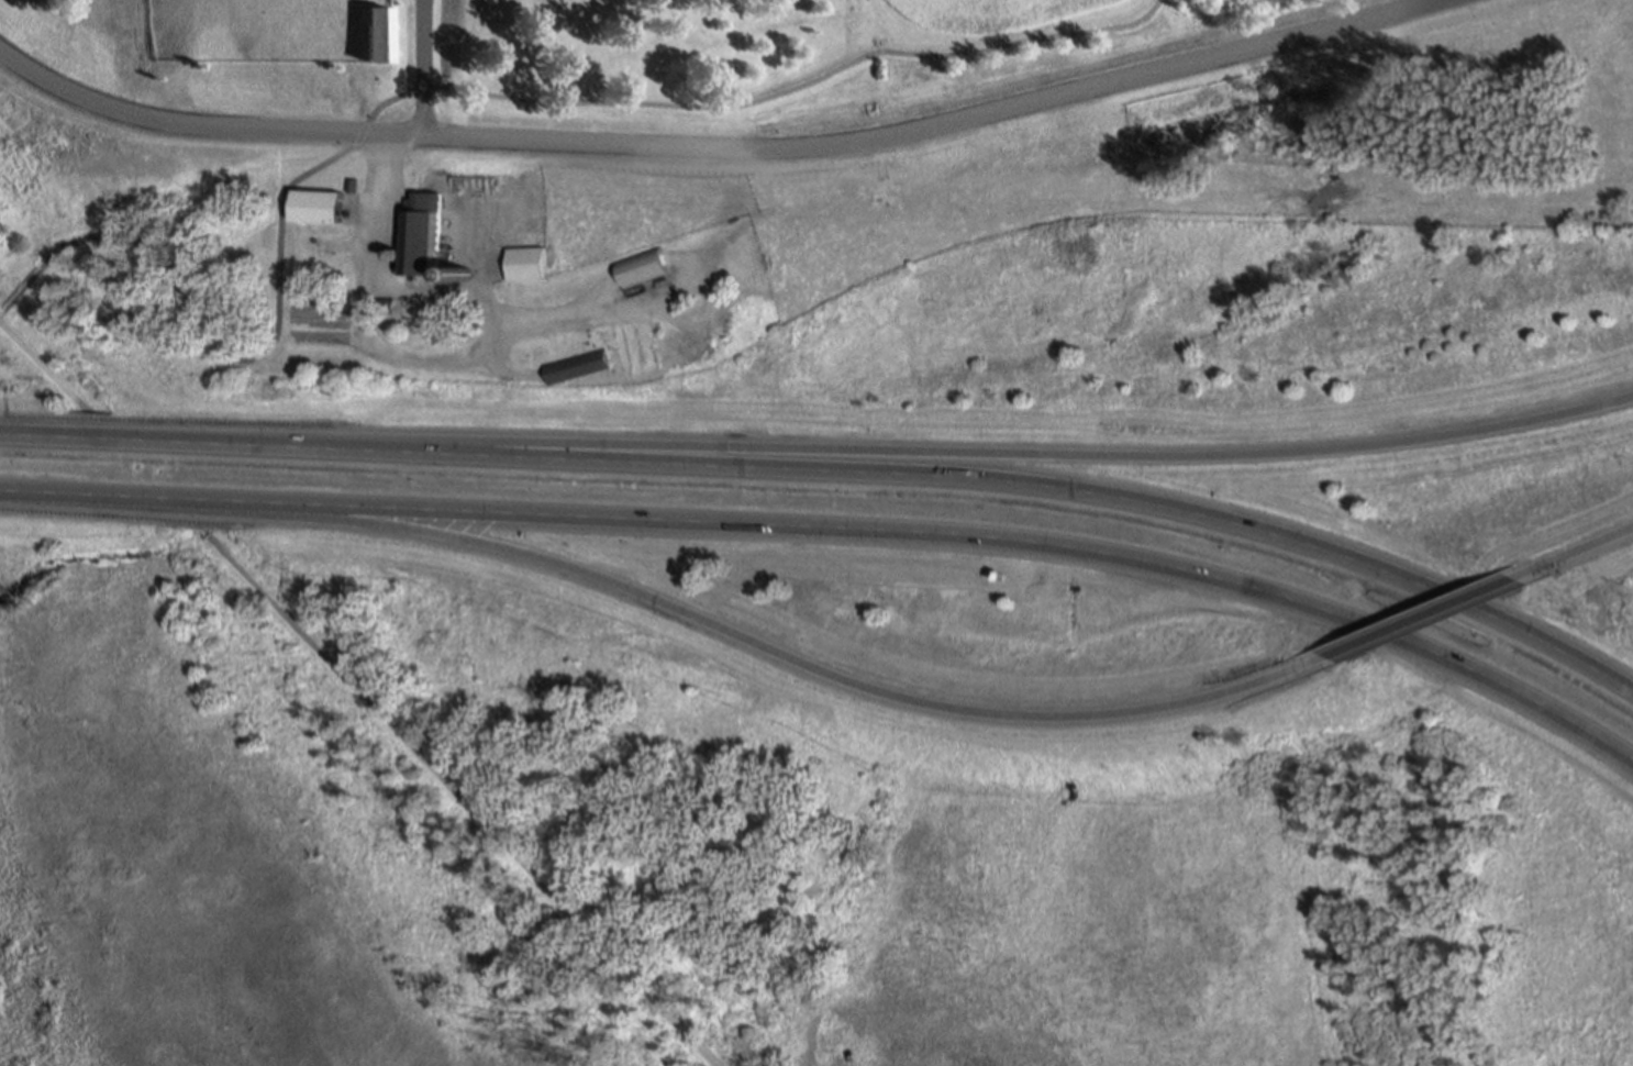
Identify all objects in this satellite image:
crop: (979, 10)
building: (376, 34)
road: (422, 68)
road: (477, 95)
road: (722, 149)
building: (358, 184)
building: (319, 208)
park: (87, 227)
building: (423, 236)
building: (526, 265)
building: (638, 267)
building: (460, 276)
silo: (460, 276)
road: (21, 289)
road: (449, 299)
road: (1, 310)
road: (500, 351)
road: (44, 367)
building: (578, 367)
road: (512, 371)
road: (890, 447)
road: (836, 470)
road: (838, 526)
road: (1573, 551)
road: (677, 610)
road: (1420, 618)
road: (460, 802)

